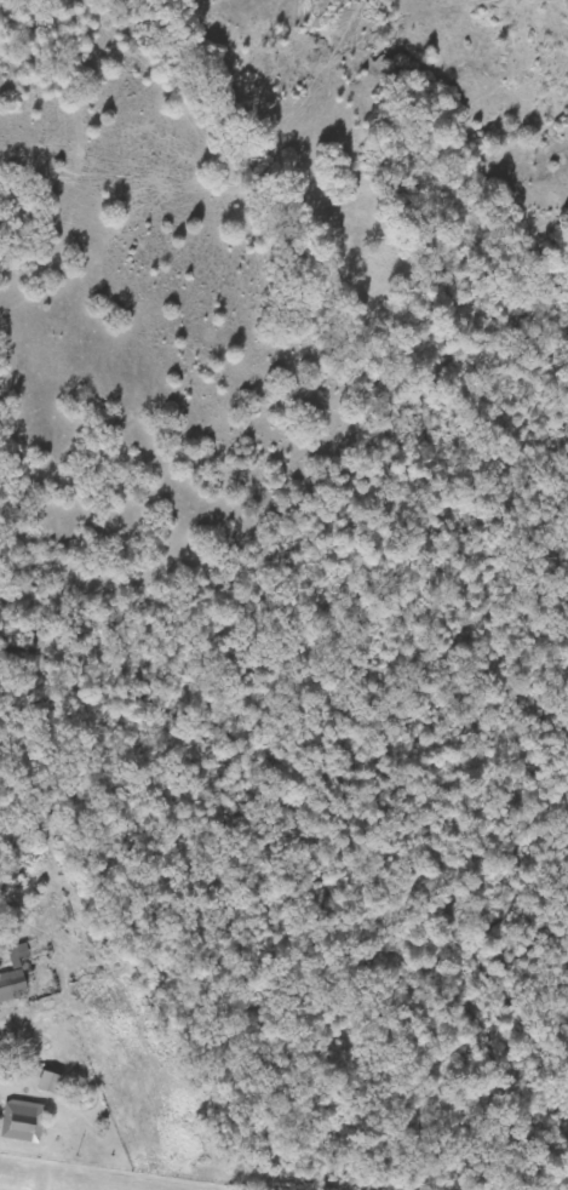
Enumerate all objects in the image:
building: (15, 976)
building: (53, 1083)
building: (25, 1122)

